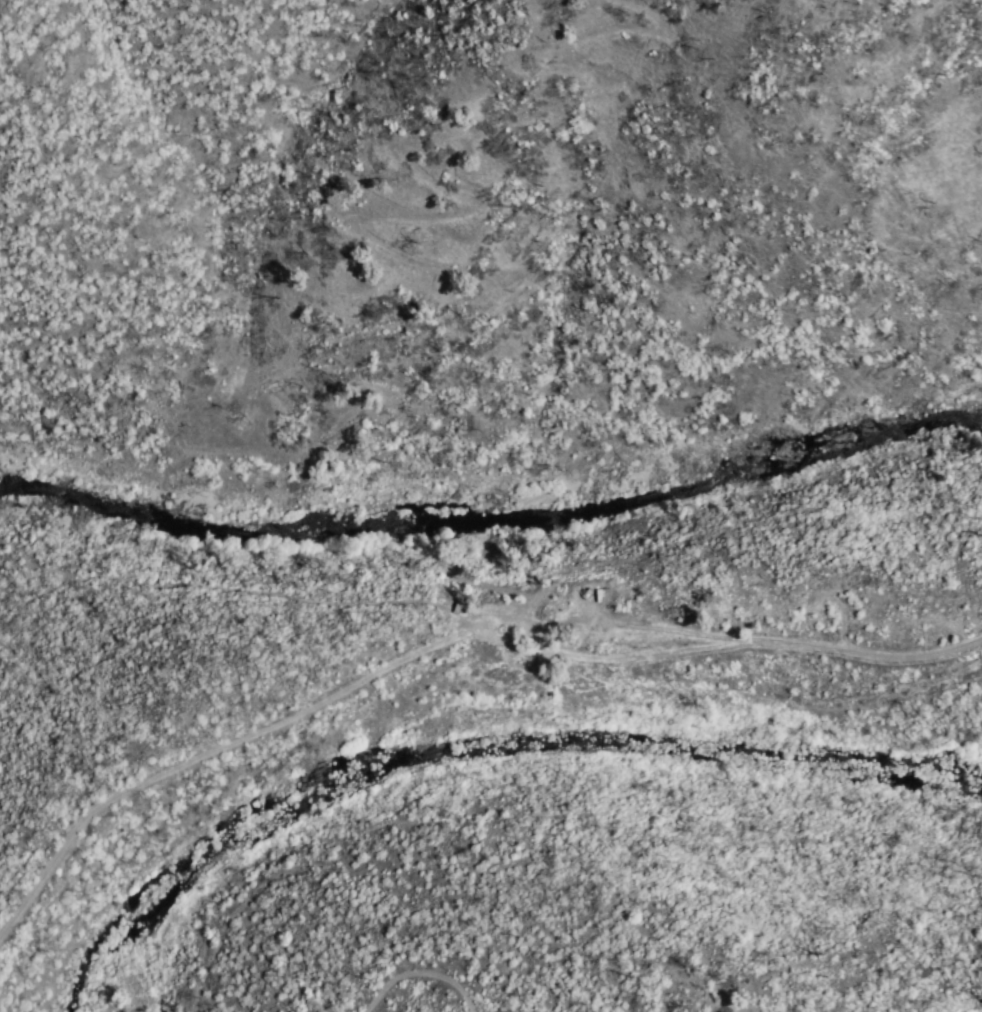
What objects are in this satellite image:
river: (492, 516)
road: (798, 644)
river: (539, 741)

